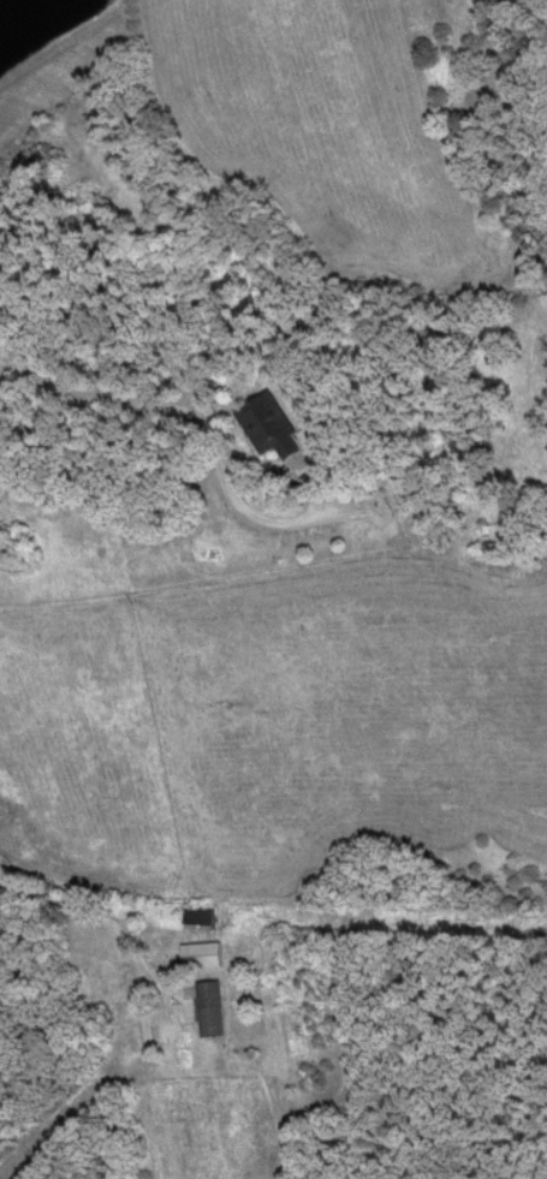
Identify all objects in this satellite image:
building: (274, 429)
road: (273, 554)
building: (202, 915)
building: (204, 955)
building: (213, 1010)
road: (73, 1030)

